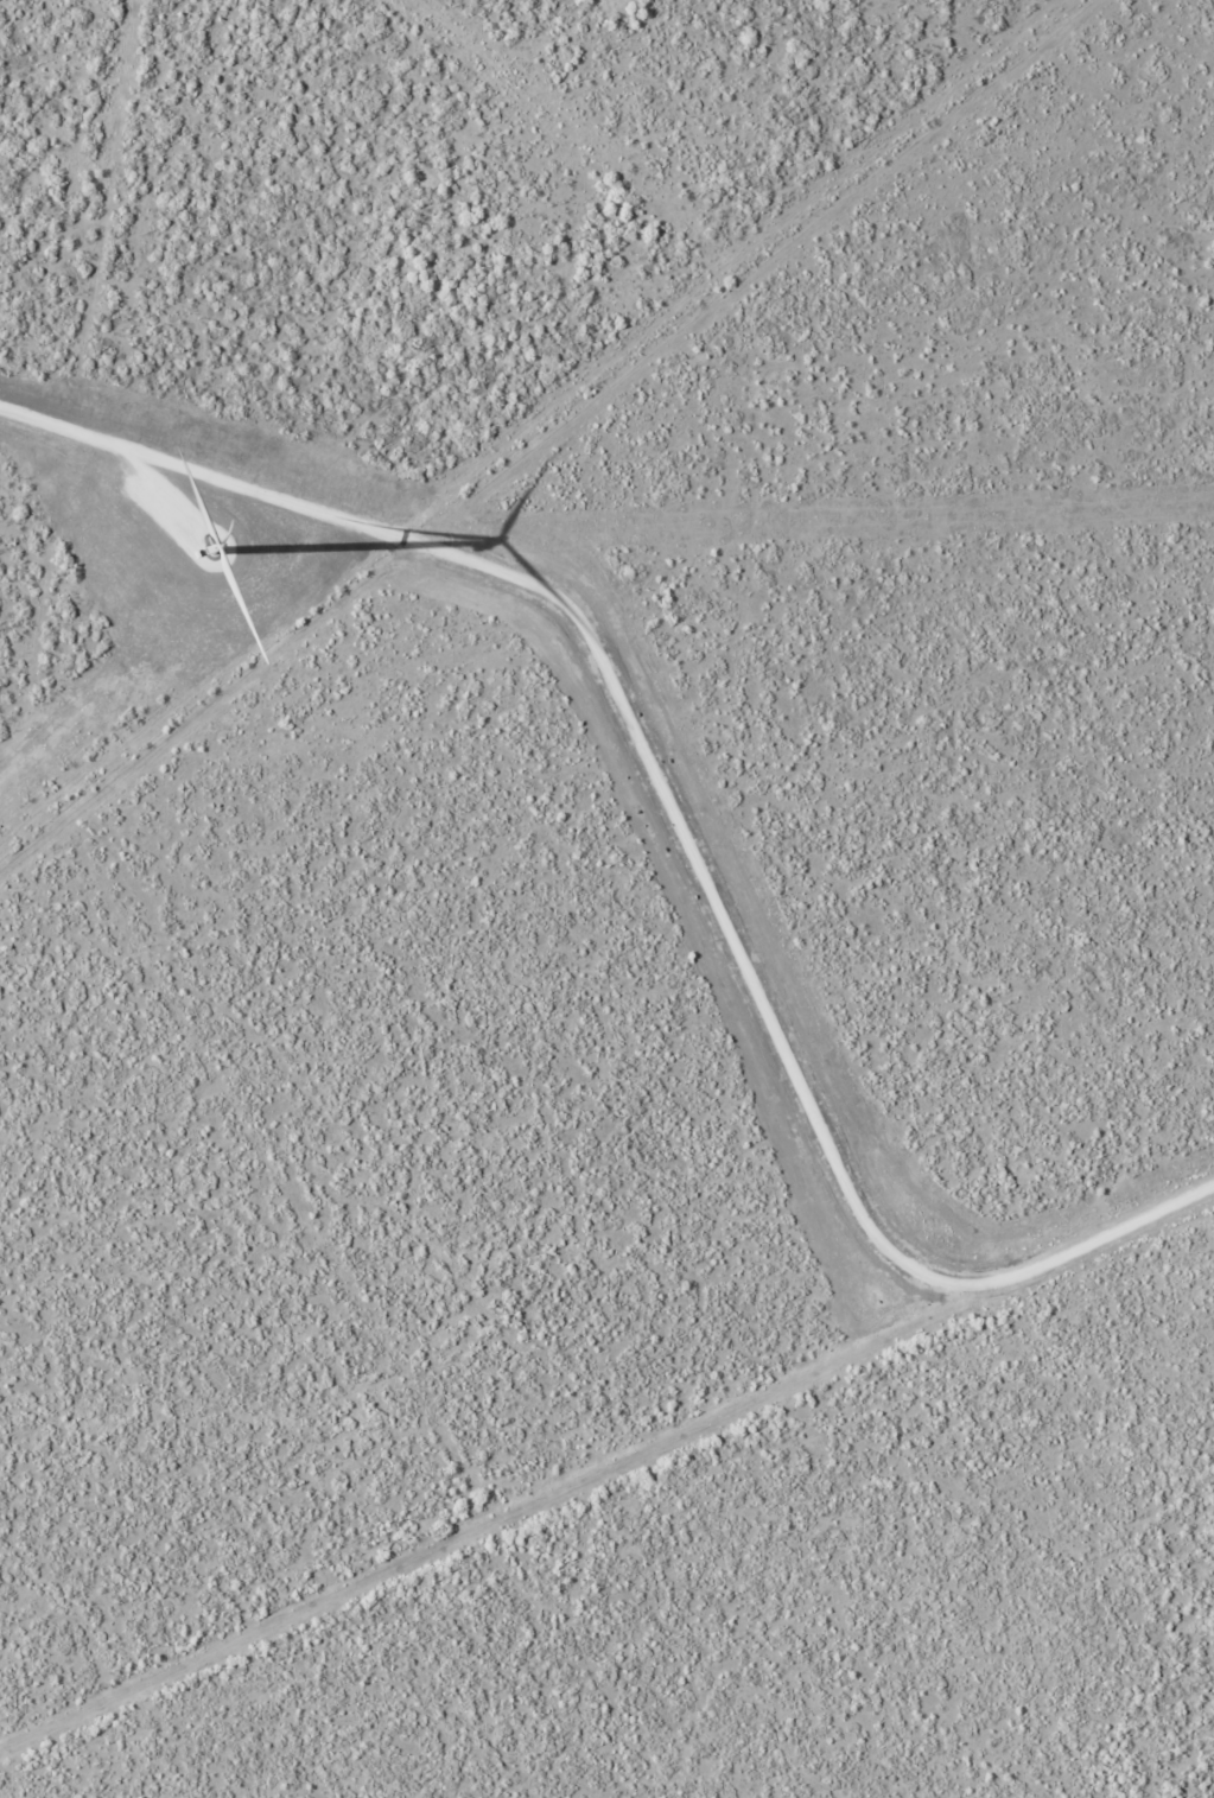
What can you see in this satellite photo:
wind turbine: (212, 545)

